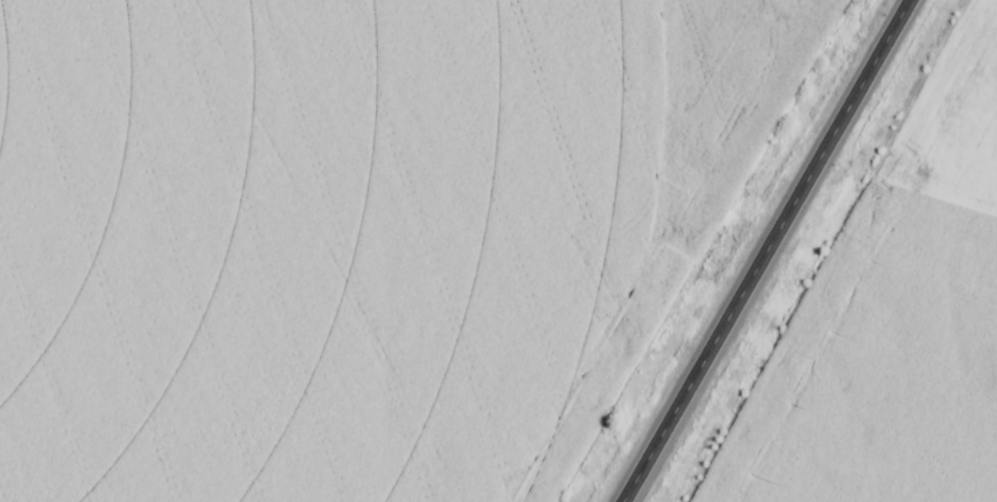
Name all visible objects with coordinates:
road: (767, 250)

